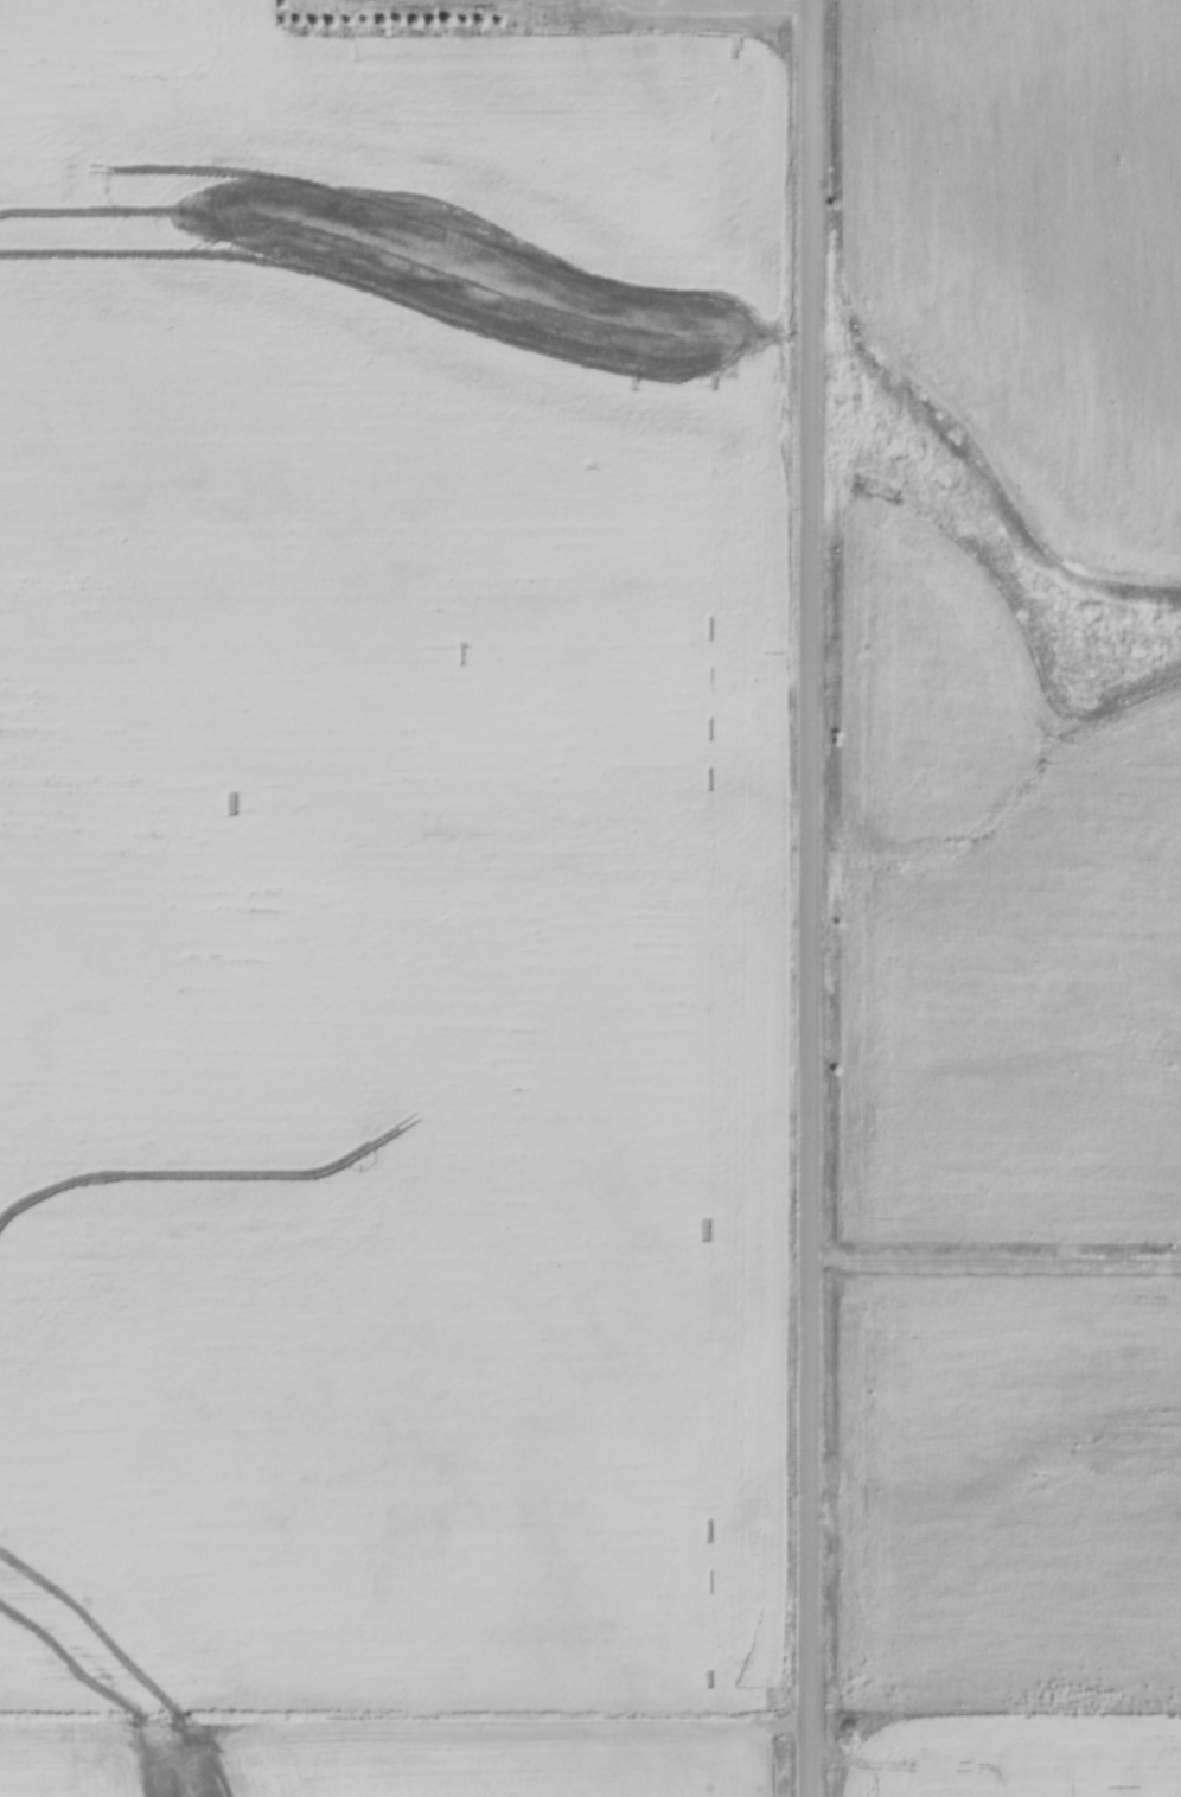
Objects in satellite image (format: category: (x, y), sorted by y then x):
road: (817, 898)
road: (998, 1245)

